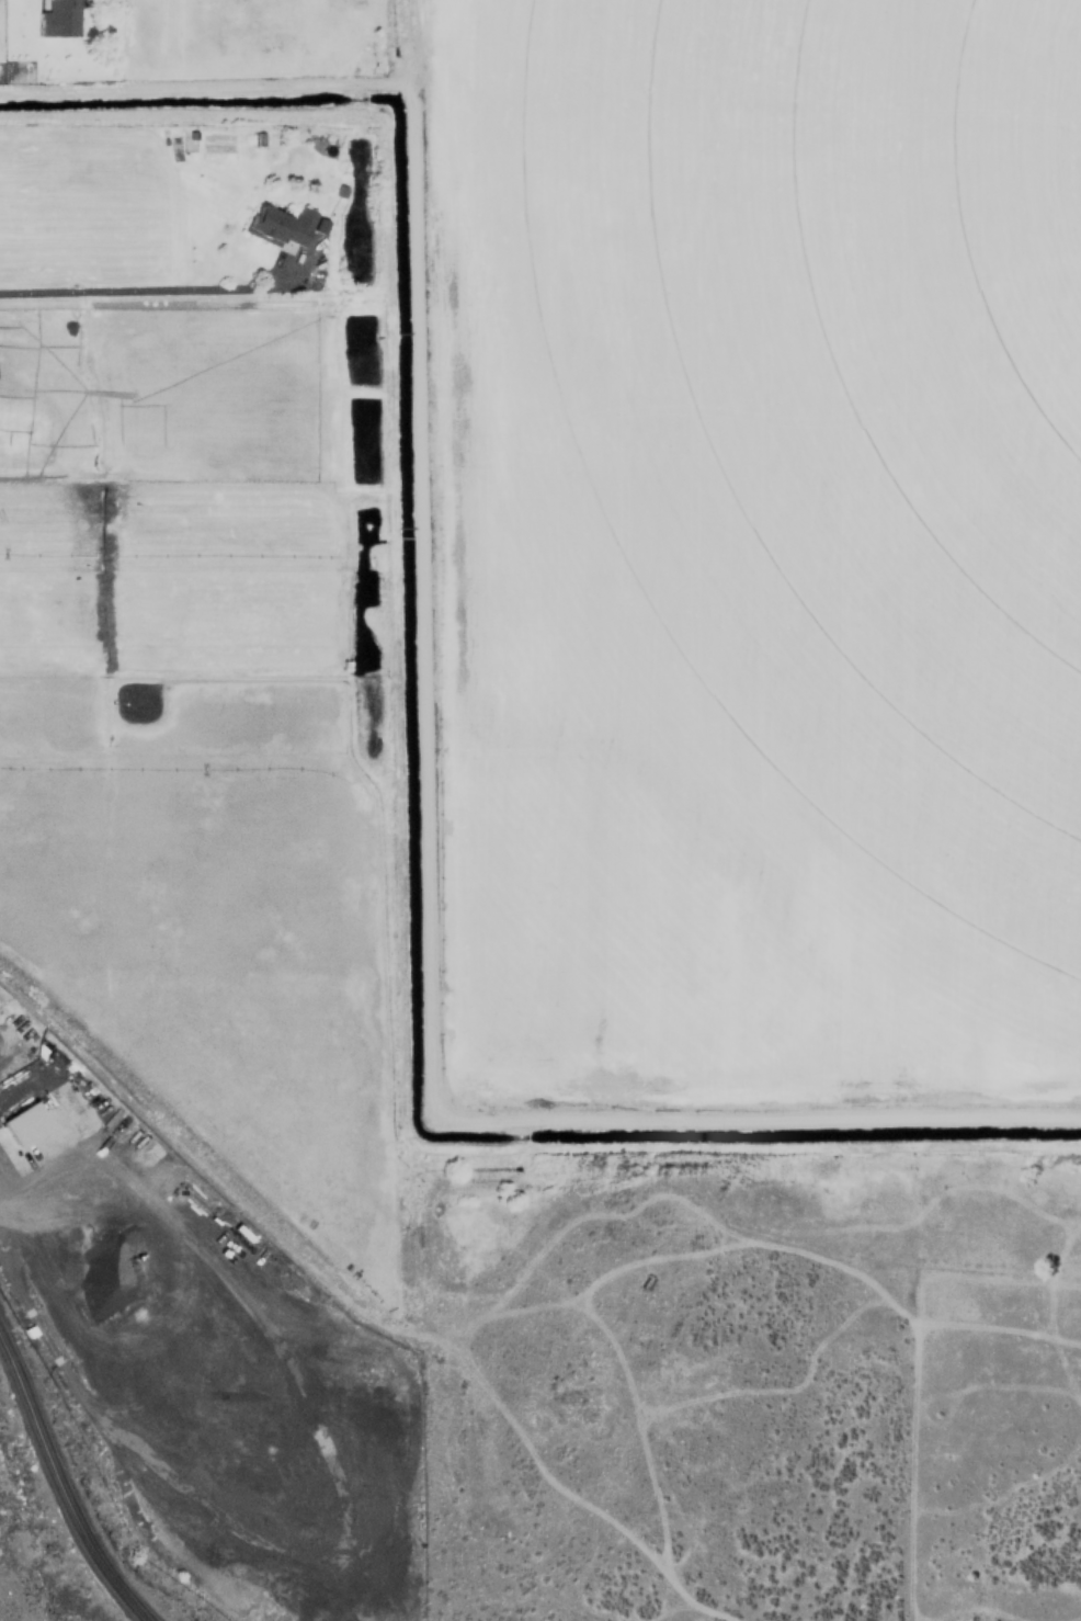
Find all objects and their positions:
building: (57, 19)
building: (280, 225)
road: (151, 291)
crop: (815, 427)
crop: (627, 823)
building: (22, 1123)
road: (59, 1489)

